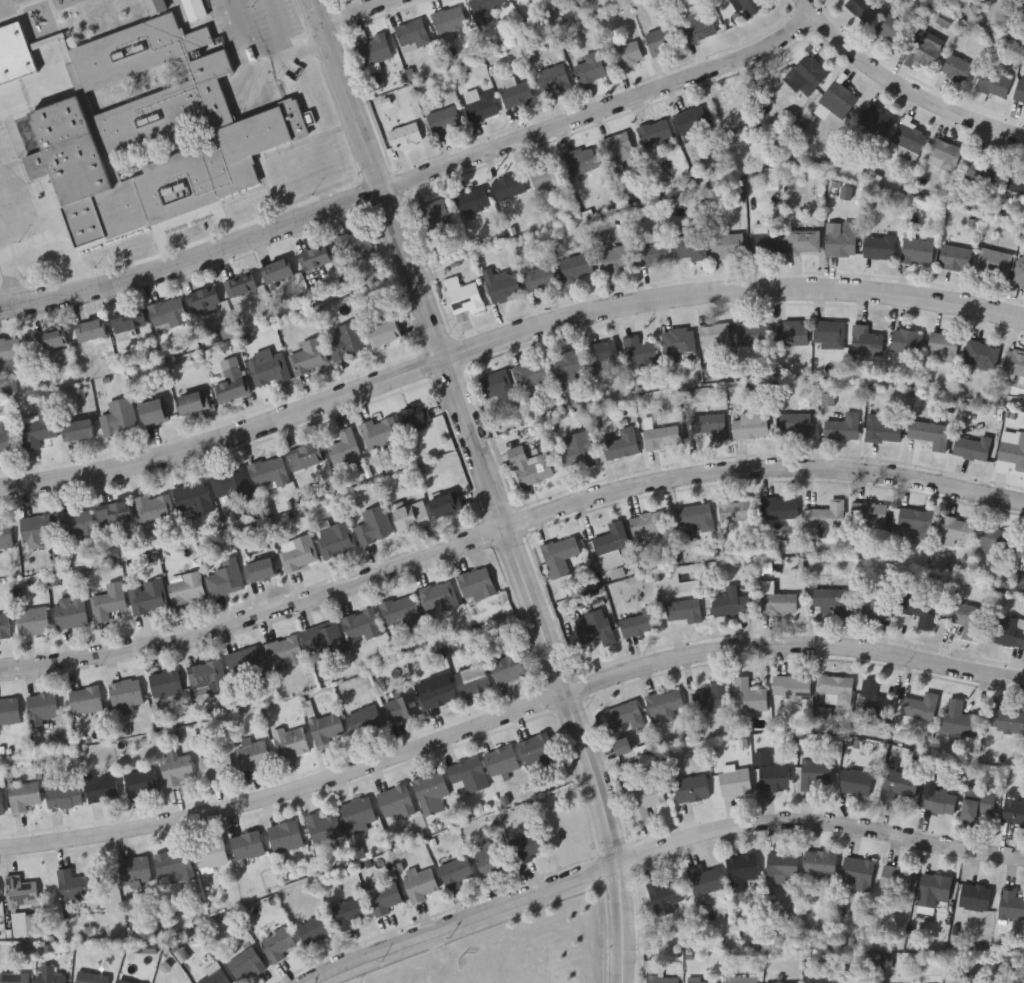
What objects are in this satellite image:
building: (1009, 0)
building: (1019, 3)
building: (155, 5)
building: (487, 5)
building: (750, 5)
building: (193, 9)
building: (863, 9)
road: (354, 11)
building: (451, 19)
building: (700, 26)
building: (893, 28)
building: (412, 33)
building: (663, 39)
building: (375, 49)
road: (259, 50)
building: (627, 53)
building: (928, 53)
building: (591, 67)
building: (958, 68)
building: (808, 75)
building: (555, 78)
building: (991, 85)
road: (899, 88)
building: (1020, 89)
road: (30, 93)
building: (518, 94)
road: (348, 95)
building: (836, 100)
building: (481, 107)
road: (603, 110)
building: (731, 112)
building: (444, 119)
building: (691, 119)
building: (876, 119)
building: (143, 125)
building: (655, 132)
building: (406, 136)
building: (910, 140)
building: (618, 148)
building: (945, 154)
building: (582, 160)
building: (982, 169)
building: (546, 174)
building: (1014, 179)
building: (509, 186)
road: (8, 187)
building: (472, 199)
building: (433, 215)
road: (54, 225)
building: (839, 239)
building: (765, 241)
building: (802, 241)
building: (353, 244)
building: (727, 244)
building: (879, 245)
building: (688, 246)
building: (916, 249)
building: (652, 254)
road: (194, 255)
building: (313, 256)
building: (956, 257)
building: (614, 259)
building: (994, 261)
building: (577, 265)
building: (277, 269)
building: (1018, 271)
building: (540, 276)
road: (5, 277)
building: (501, 285)
building: (241, 286)
building: (464, 298)
building: (166, 311)
building: (128, 320)
building: (90, 329)
building: (792, 332)
building: (829, 332)
building: (383, 333)
building: (753, 334)
building: (714, 335)
building: (51, 338)
building: (345, 340)
building: (678, 341)
building: (907, 341)
building: (865, 342)
road: (504, 345)
building: (942, 346)
building: (13, 351)
building: (640, 351)
building: (602, 353)
building: (980, 354)
building: (307, 355)
building: (1013, 361)
building: (569, 366)
building: (266, 368)
building: (531, 373)
building: (230, 380)
building: (495, 385)
building: (193, 401)
building: (153, 411)
building: (116, 416)
building: (414, 417)
building: (793, 422)
building: (750, 424)
building: (709, 425)
building: (6, 427)
building: (842, 427)
building: (37, 428)
building: (79, 429)
building: (881, 429)
building: (378, 430)
building: (926, 432)
building: (662, 437)
building: (621, 444)
building: (342, 446)
building: (972, 447)
building: (1011, 452)
building: (575, 455)
building: (303, 457)
building: (529, 466)
building: (267, 471)
building: (230, 486)
building: (191, 498)
building: (445, 504)
building: (151, 508)
building: (779, 508)
building: (736, 511)
building: (409, 513)
building: (868, 514)
building: (828, 515)
building: (696, 517)
building: (114, 518)
building: (916, 521)
building: (74, 522)
building: (649, 524)
building: (372, 525)
building: (35, 527)
building: (956, 530)
building: (4, 535)
road: (507, 537)
building: (334, 539)
building: (611, 539)
building: (999, 542)
building: (296, 553)
building: (559, 557)
building: (259, 570)
building: (223, 578)
building: (1023, 580)
road: (528, 581)
building: (474, 582)
building: (184, 588)
building: (146, 596)
building: (436, 596)
building: (777, 600)
building: (830, 600)
building: (107, 601)
building: (731, 604)
building: (874, 606)
building: (684, 607)
building: (920, 608)
building: (398, 609)
building: (69, 611)
building: (966, 618)
building: (31, 620)
building: (360, 623)
building: (639, 623)
building: (4, 625)
building: (595, 628)
building: (1007, 631)
building: (323, 639)
building: (282, 652)
building: (244, 662)
building: (505, 668)
building: (204, 676)
building: (471, 679)
building: (164, 683)
building: (792, 687)
building: (835, 689)
building: (434, 690)
building: (124, 693)
building: (750, 695)
building: (711, 697)
building: (84, 699)
building: (872, 701)
building: (664, 703)
building: (919, 706)
building: (400, 707)
building: (39, 709)
building: (8, 710)
road: (507, 712)
building: (622, 715)
building: (362, 718)
building: (958, 719)
building: (1005, 719)
building: (324, 728)
building: (289, 741)
building: (623, 745)
building: (535, 749)
building: (250, 752)
building: (500, 760)
building: (215, 764)
building: (174, 768)
building: (817, 774)
building: (466, 776)
building: (774, 777)
building: (139, 782)
building: (735, 782)
building: (856, 782)
building: (898, 784)
building: (99, 786)
building: (692, 788)
building: (429, 792)
building: (22, 795)
building: (62, 795)
building: (644, 798)
building: (937, 801)
building: (395, 802)
building: (978, 804)
building: (0, 808)
building: (1013, 808)
building: (357, 811)
building: (322, 828)
building: (284, 836)
building: (526, 844)
building: (246, 845)
building: (210, 852)
road: (661, 852)
building: (485, 856)
building: (172, 863)
building: (820, 863)
building: (782, 866)
building: (133, 868)
building: (741, 870)
building: (857, 871)
building: (456, 872)
building: (704, 879)
building: (895, 879)
building: (419, 883)
building: (71, 888)
building: (933, 889)
building: (19, 891)
building: (664, 893)
building: (974, 897)
building: (383, 898)
building: (1010, 904)
building: (349, 912)
building: (313, 929)
building: (277, 944)
building: (244, 964)
building: (90, 977)
building: (13, 978)
building: (48, 979)
building: (661, 979)
building: (740, 979)
building: (820, 980)
building: (701, 981)
building: (858, 981)
building: (123, 982)

